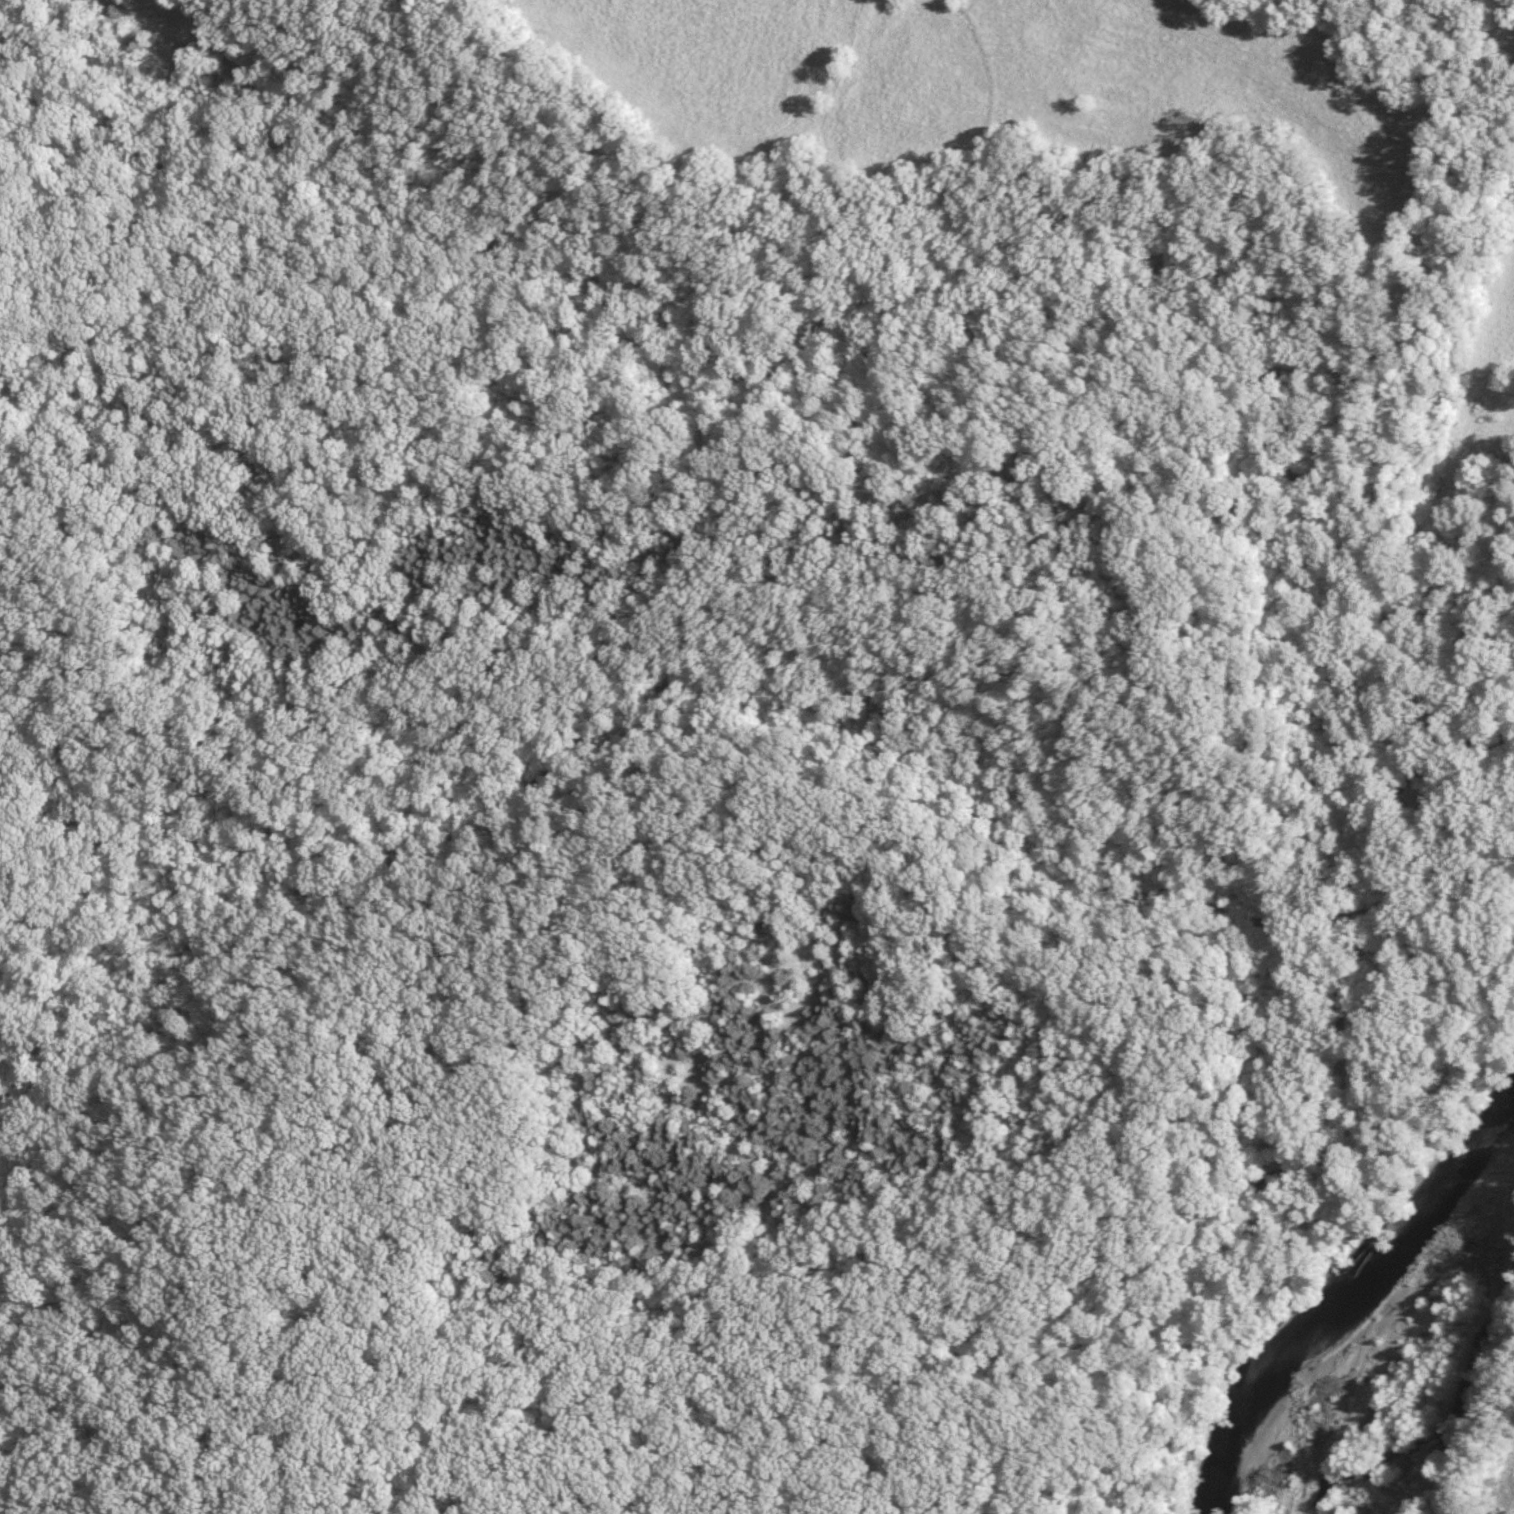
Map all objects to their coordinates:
river: (1346, 1286)

